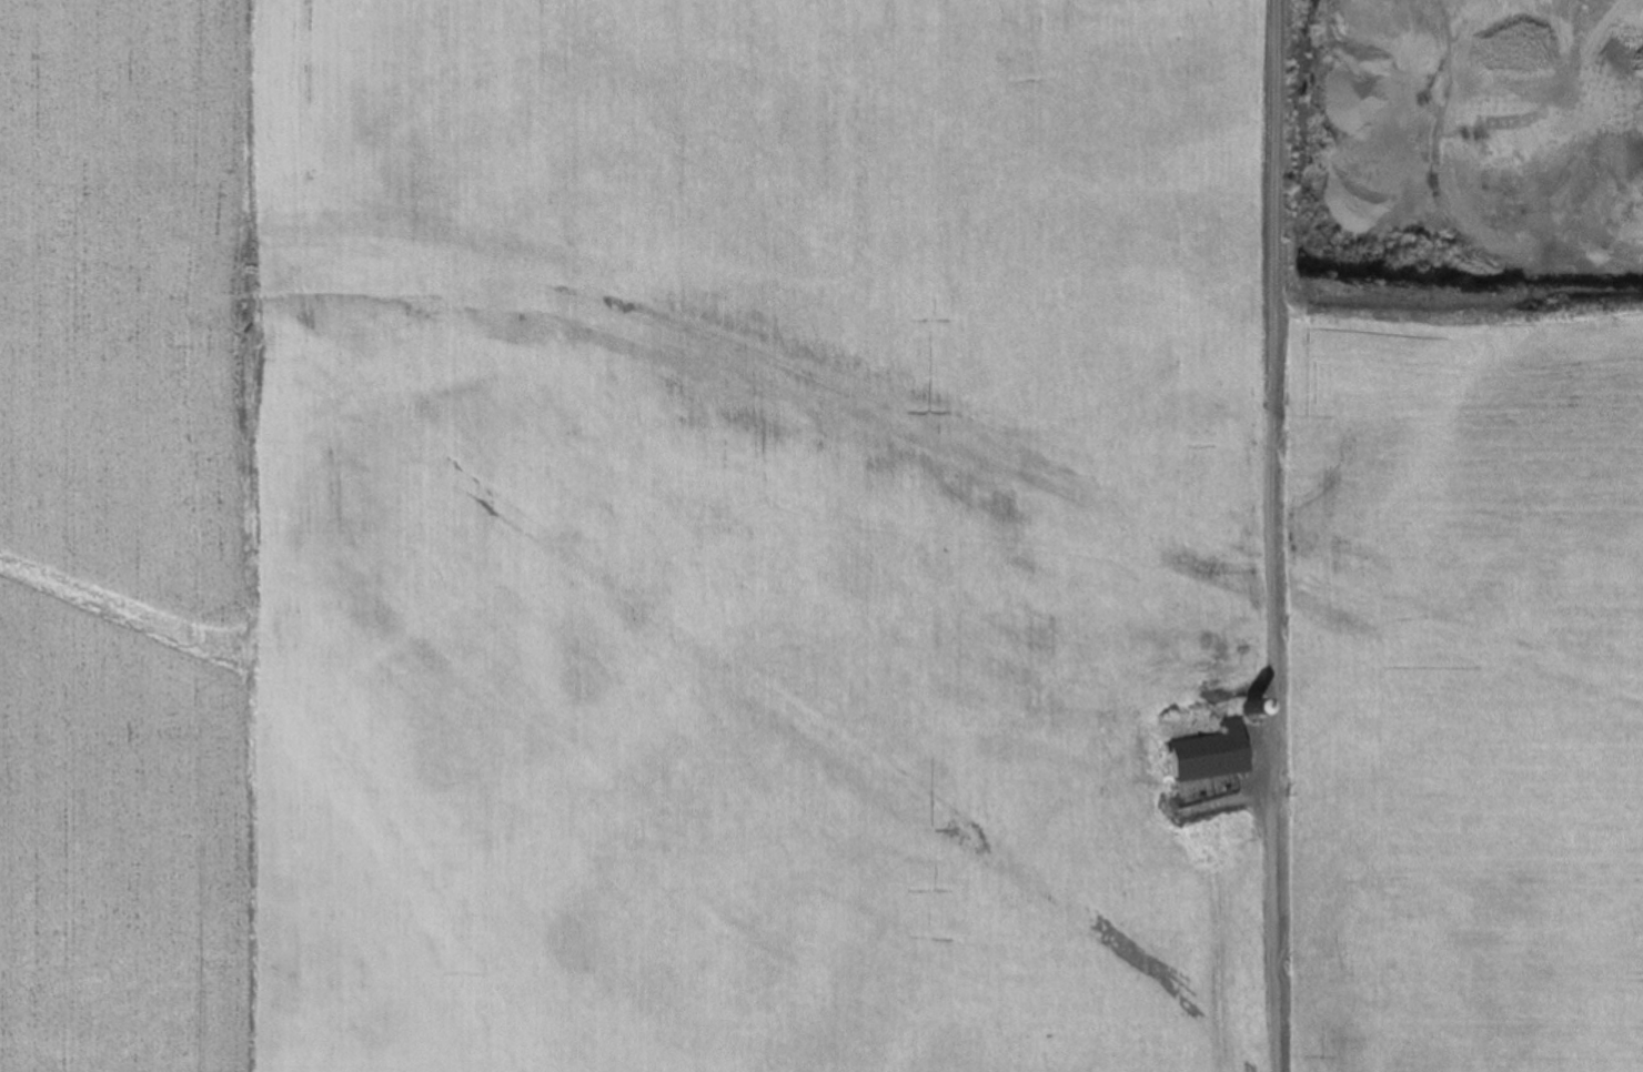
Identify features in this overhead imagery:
road: (1272, 535)
building: (1199, 755)

